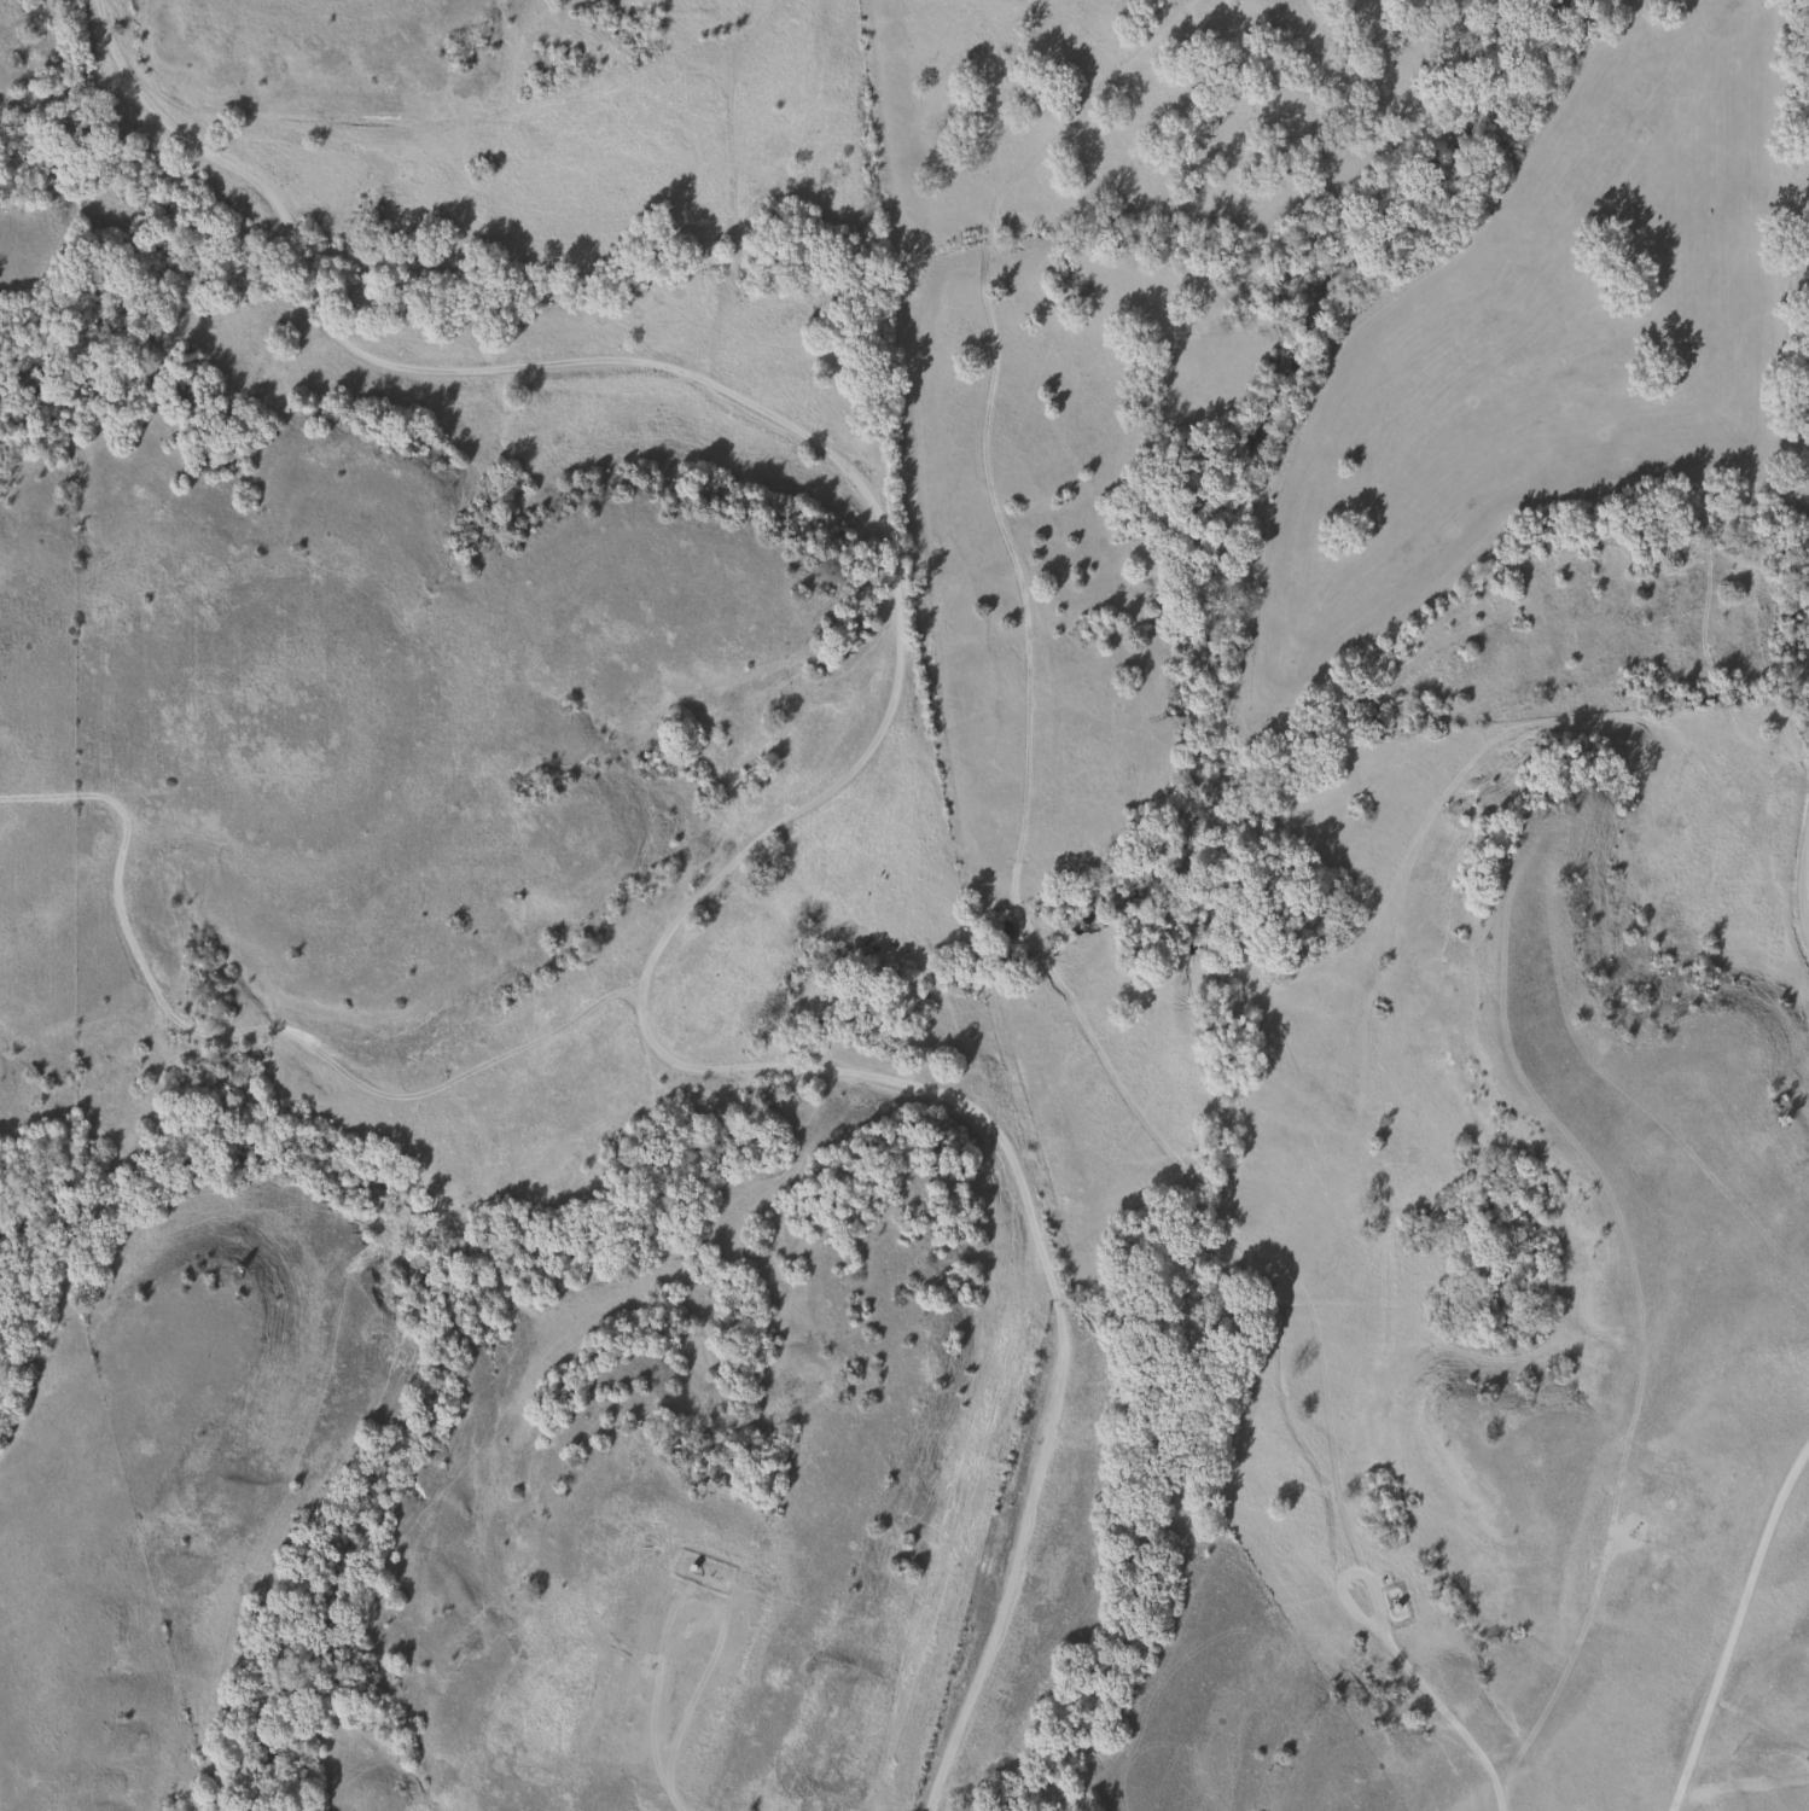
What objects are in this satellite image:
road: (798, 815)
road: (261, 1031)
road: (1734, 1626)

